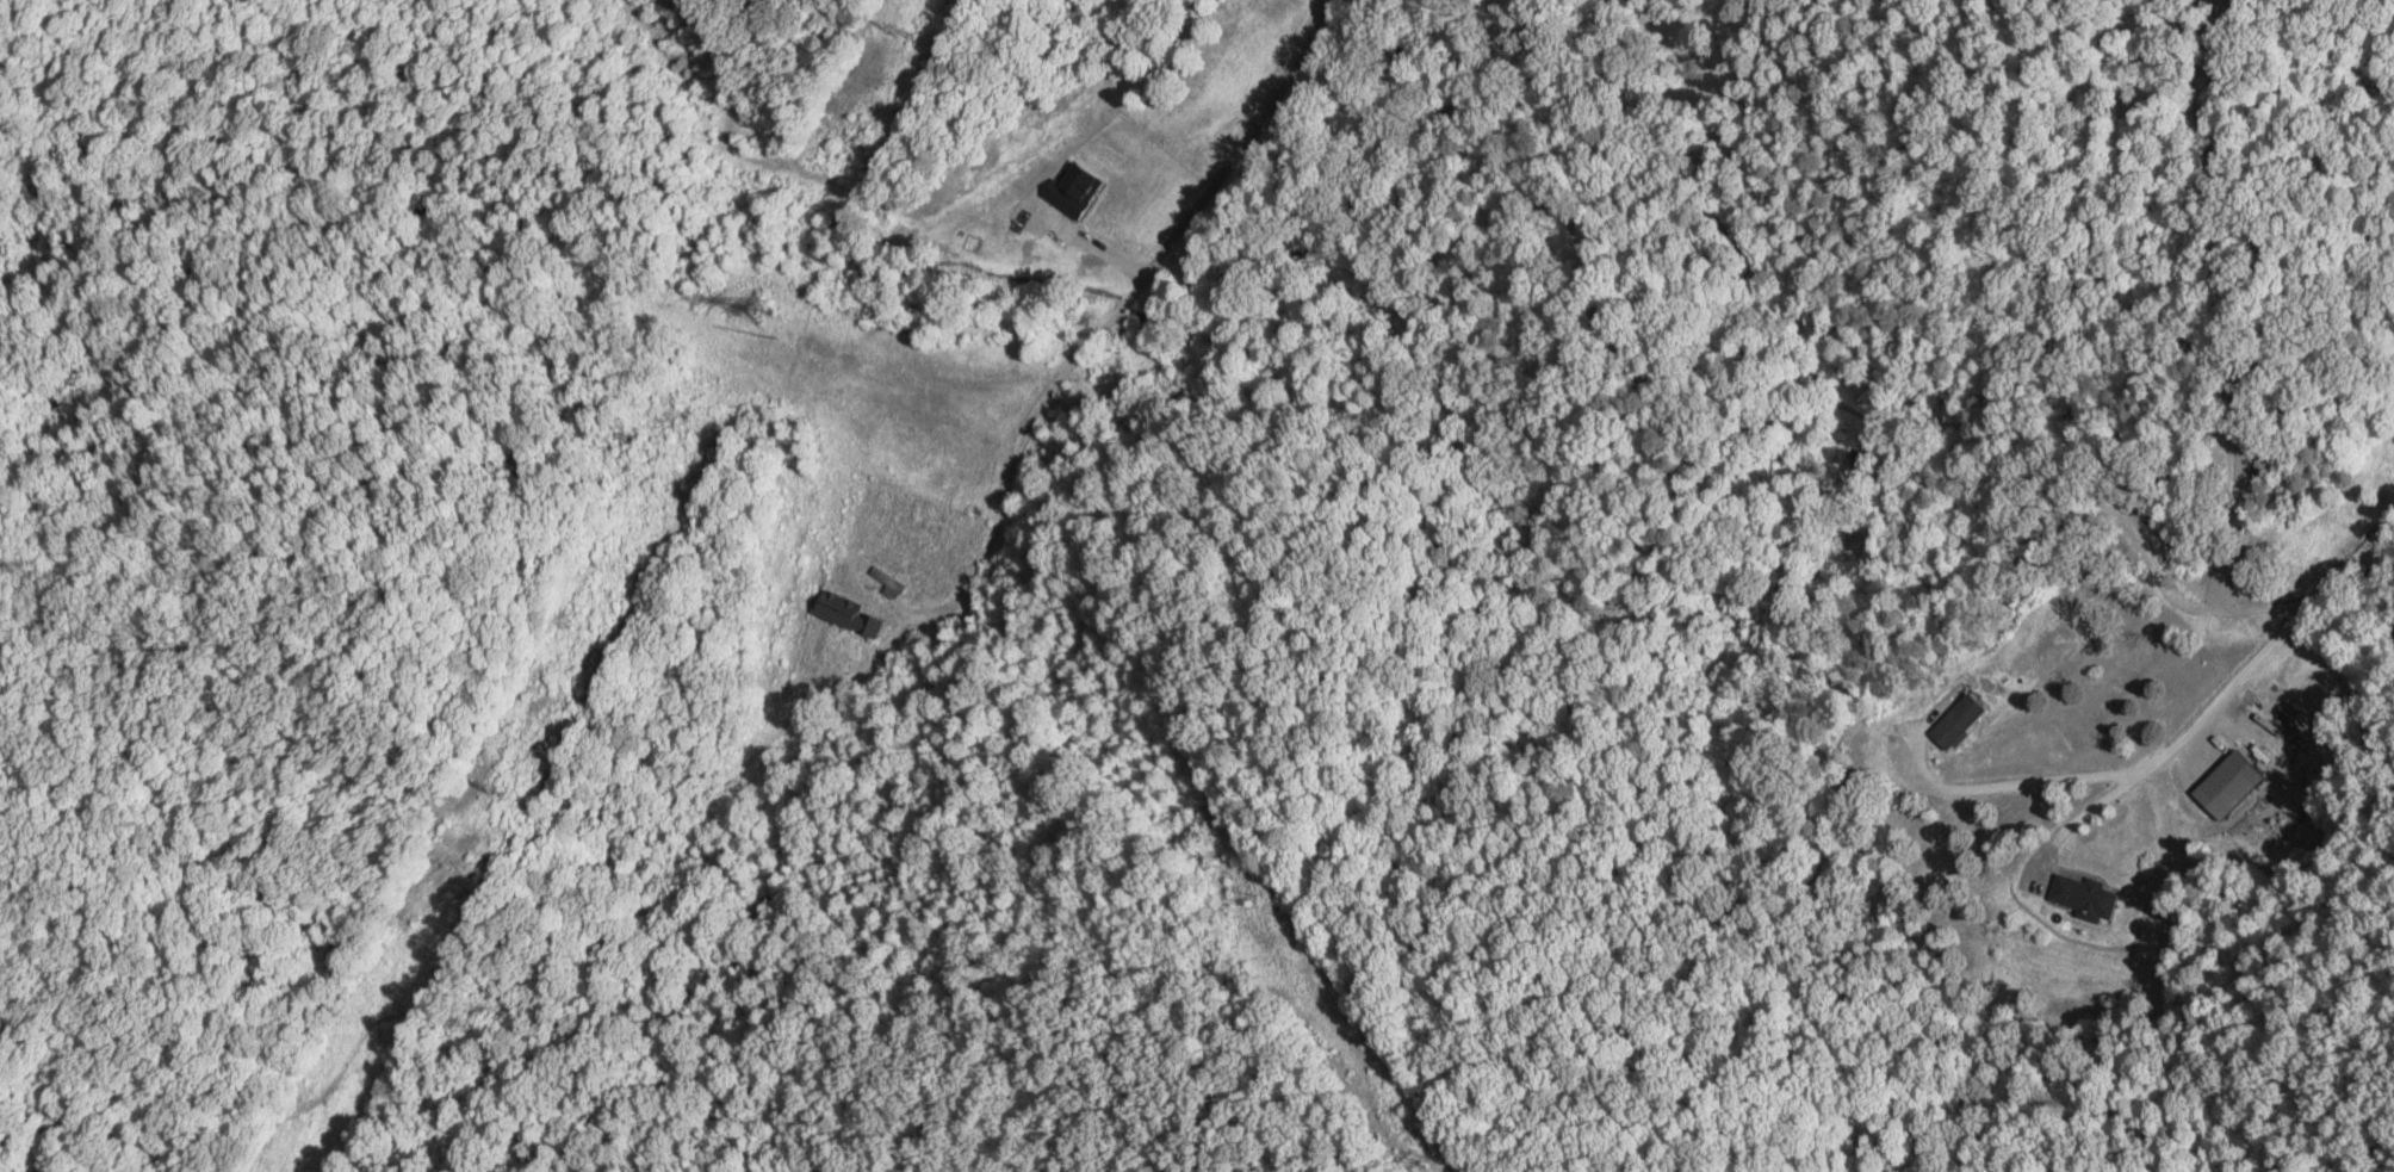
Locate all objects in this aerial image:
road: (1210, 199)
building: (887, 579)
building: (846, 615)
road: (2219, 695)
building: (2227, 785)
building: (2085, 905)

